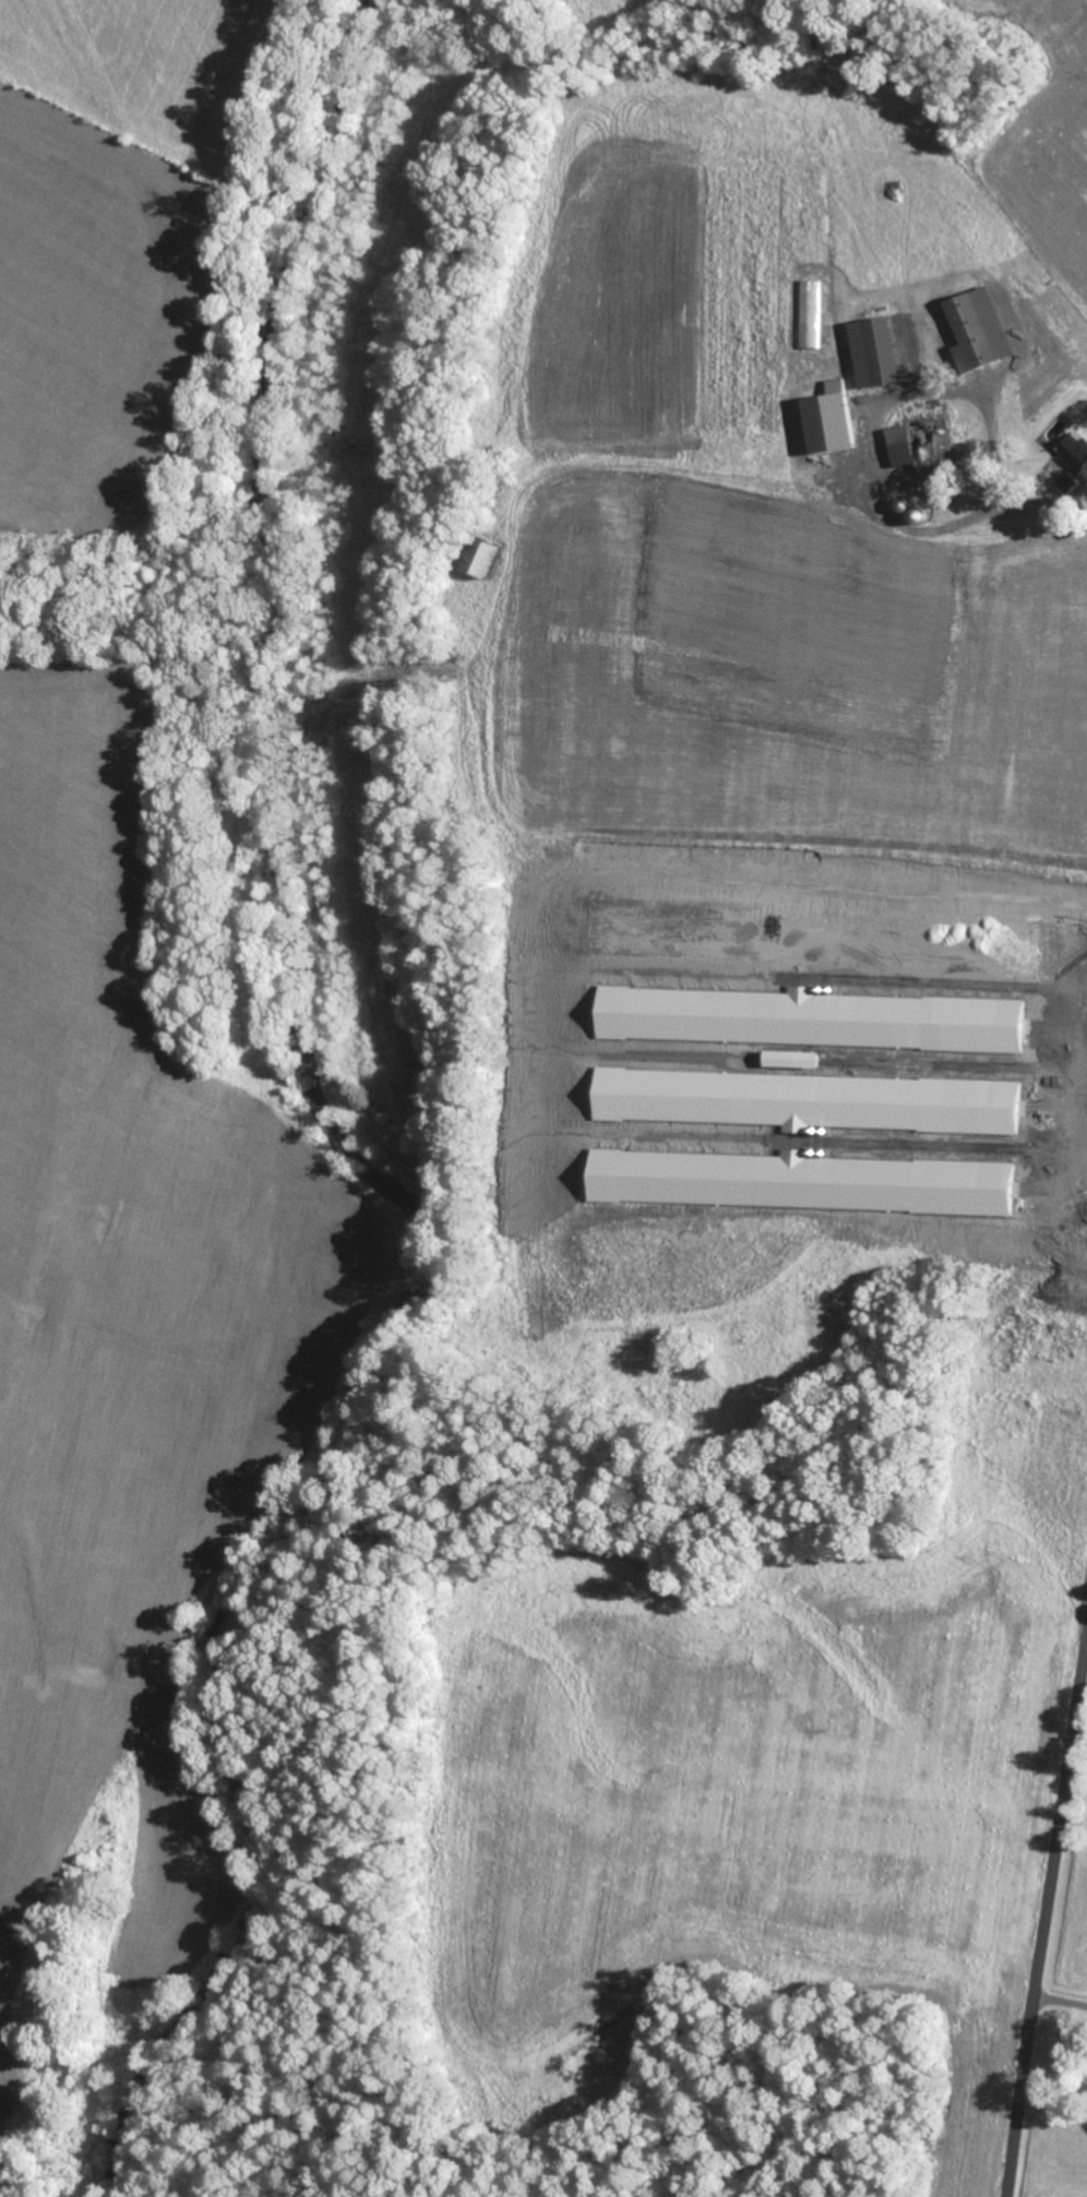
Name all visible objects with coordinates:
building: (977, 330)
building: (872, 353)
building: (826, 419)
building: (920, 447)
building: (1073, 451)
building: (479, 559)
building: (803, 1018)
building: (804, 1100)
road: (1046, 1911)

